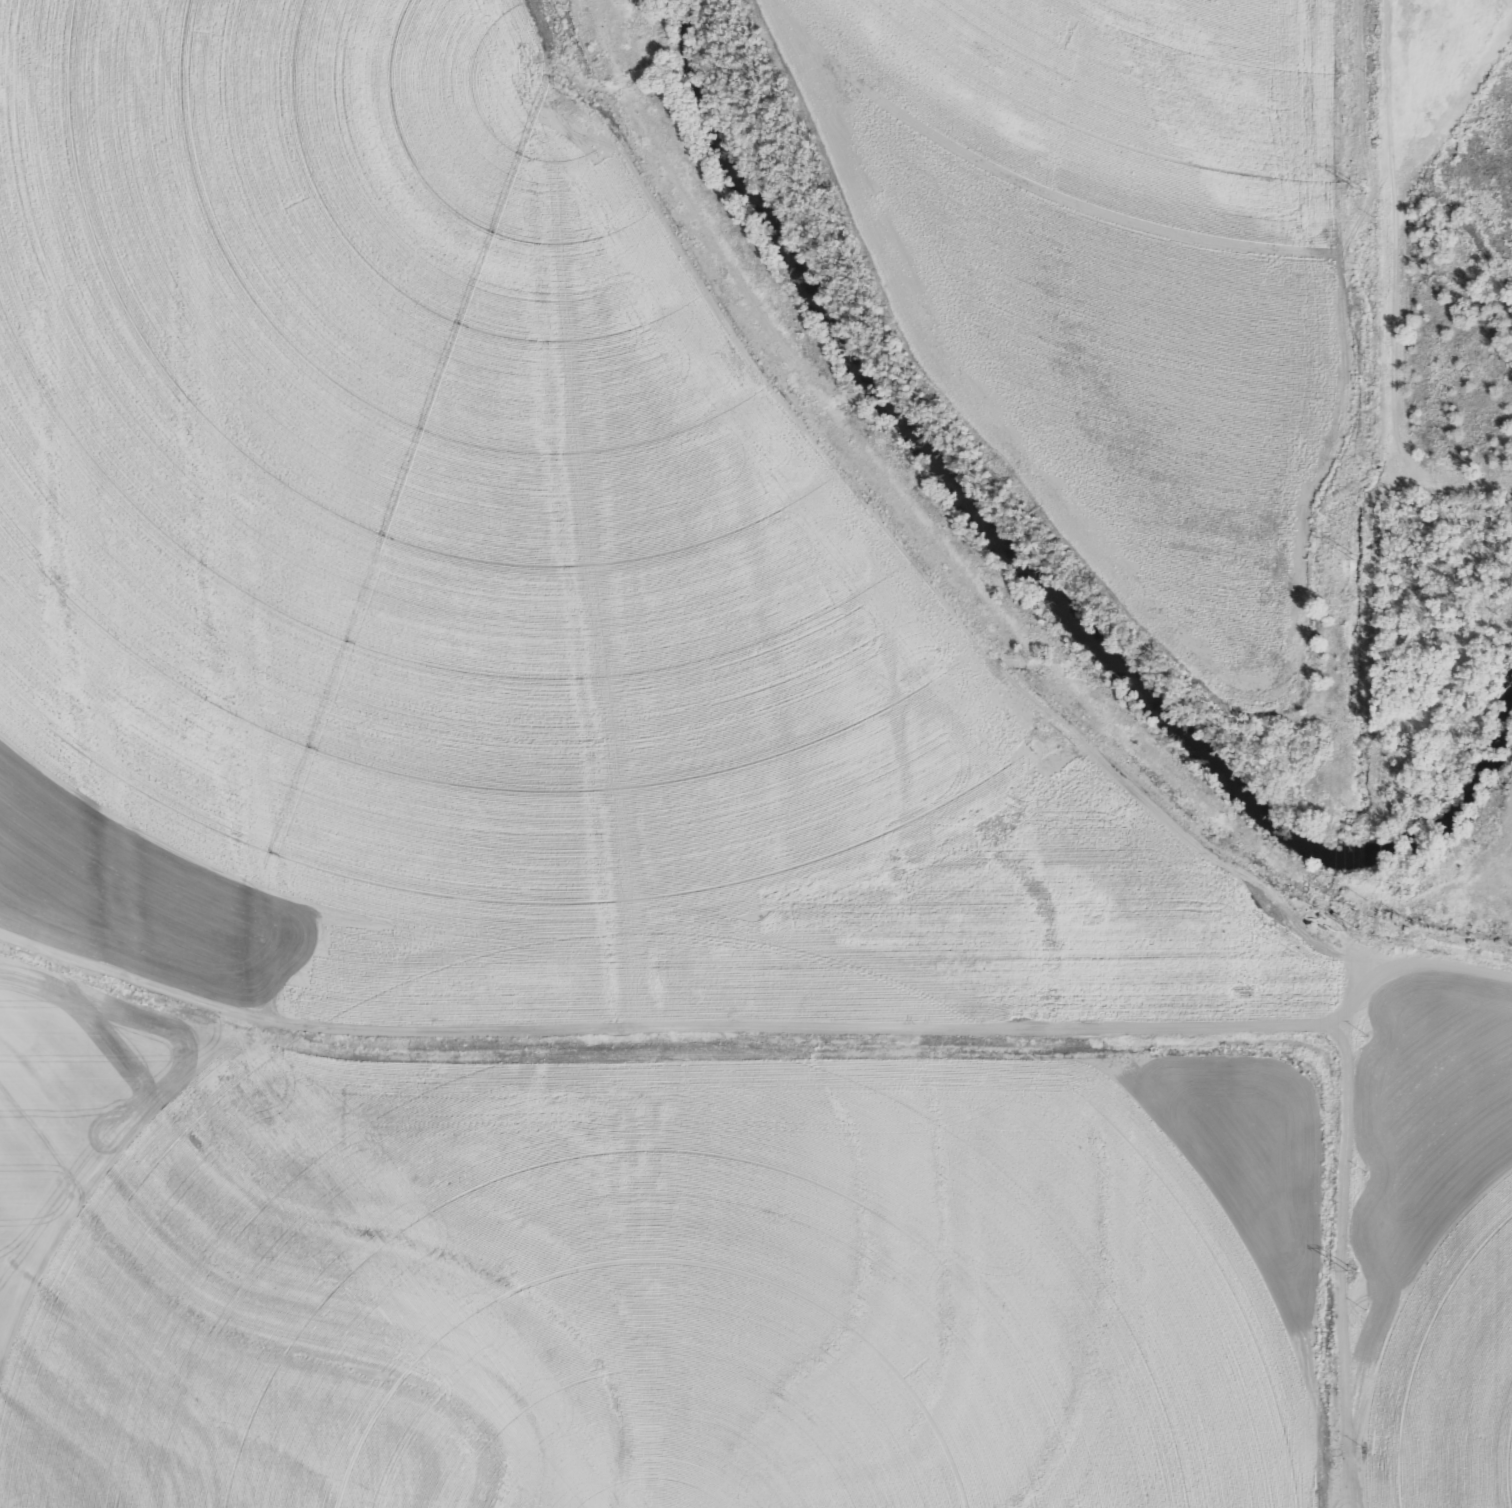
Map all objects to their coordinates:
power tower: (1359, 189)
road: (1344, 312)
power tower: (1361, 559)
power tower: (1355, 930)
power tower: (1355, 1268)

